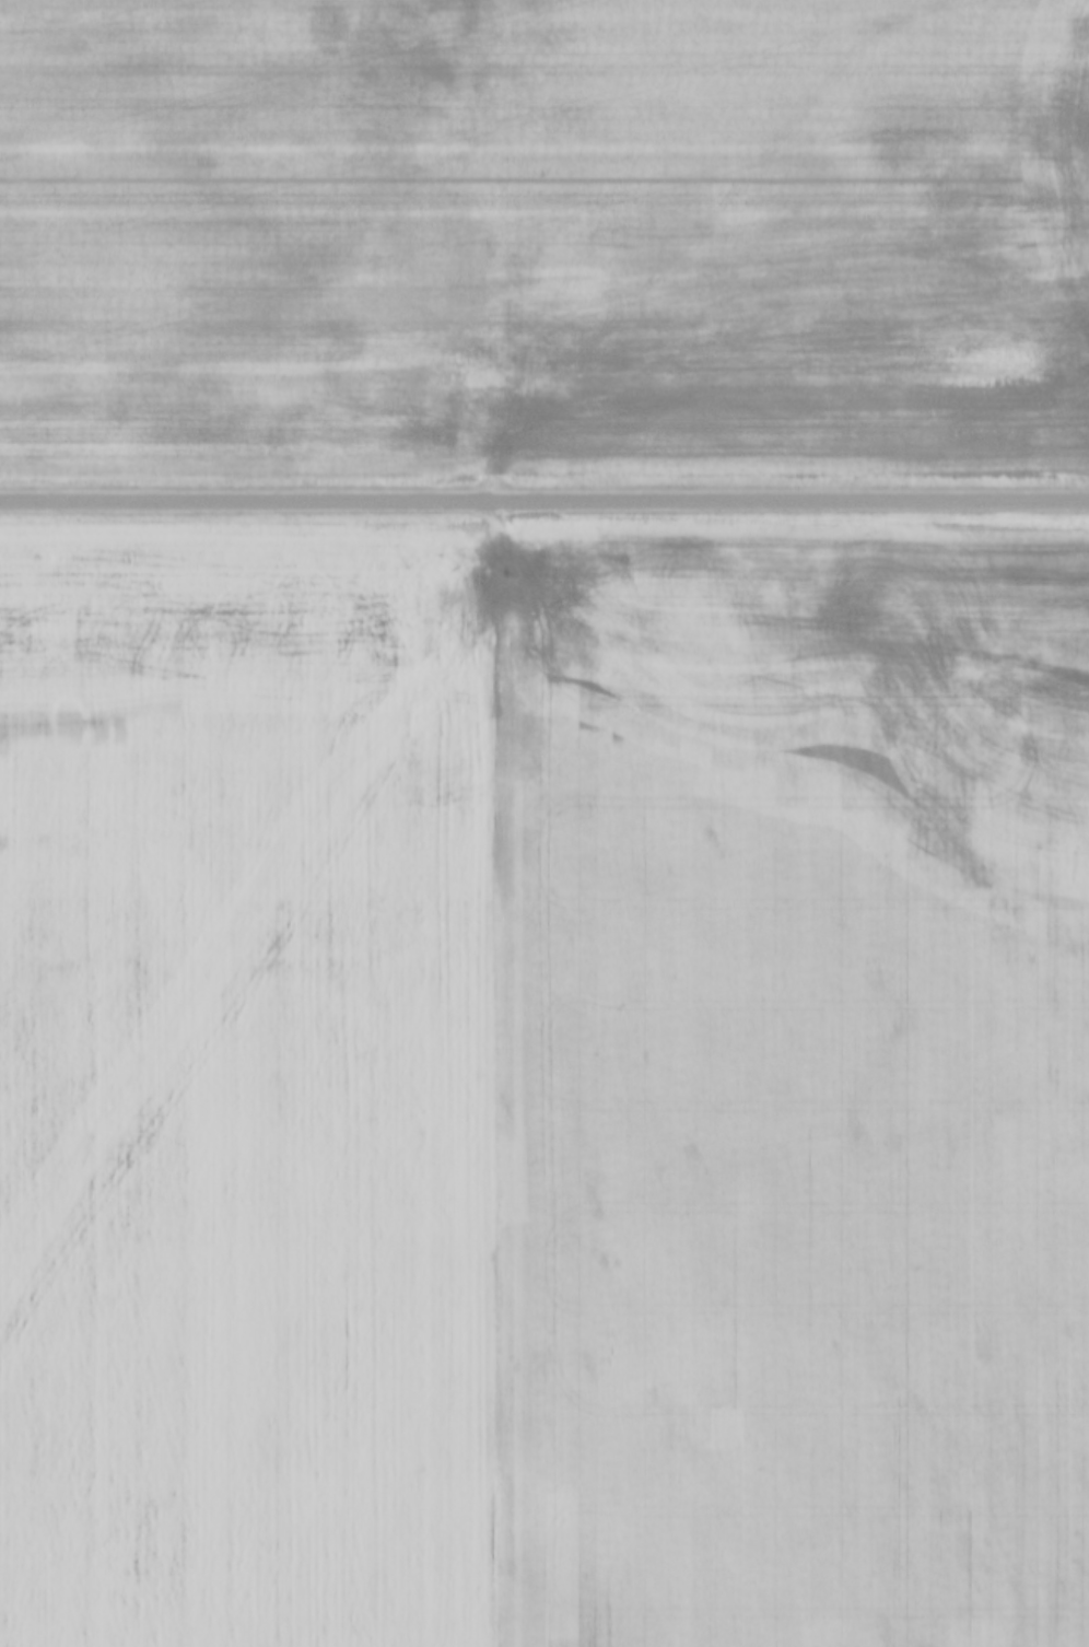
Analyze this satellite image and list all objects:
road: (544, 499)

